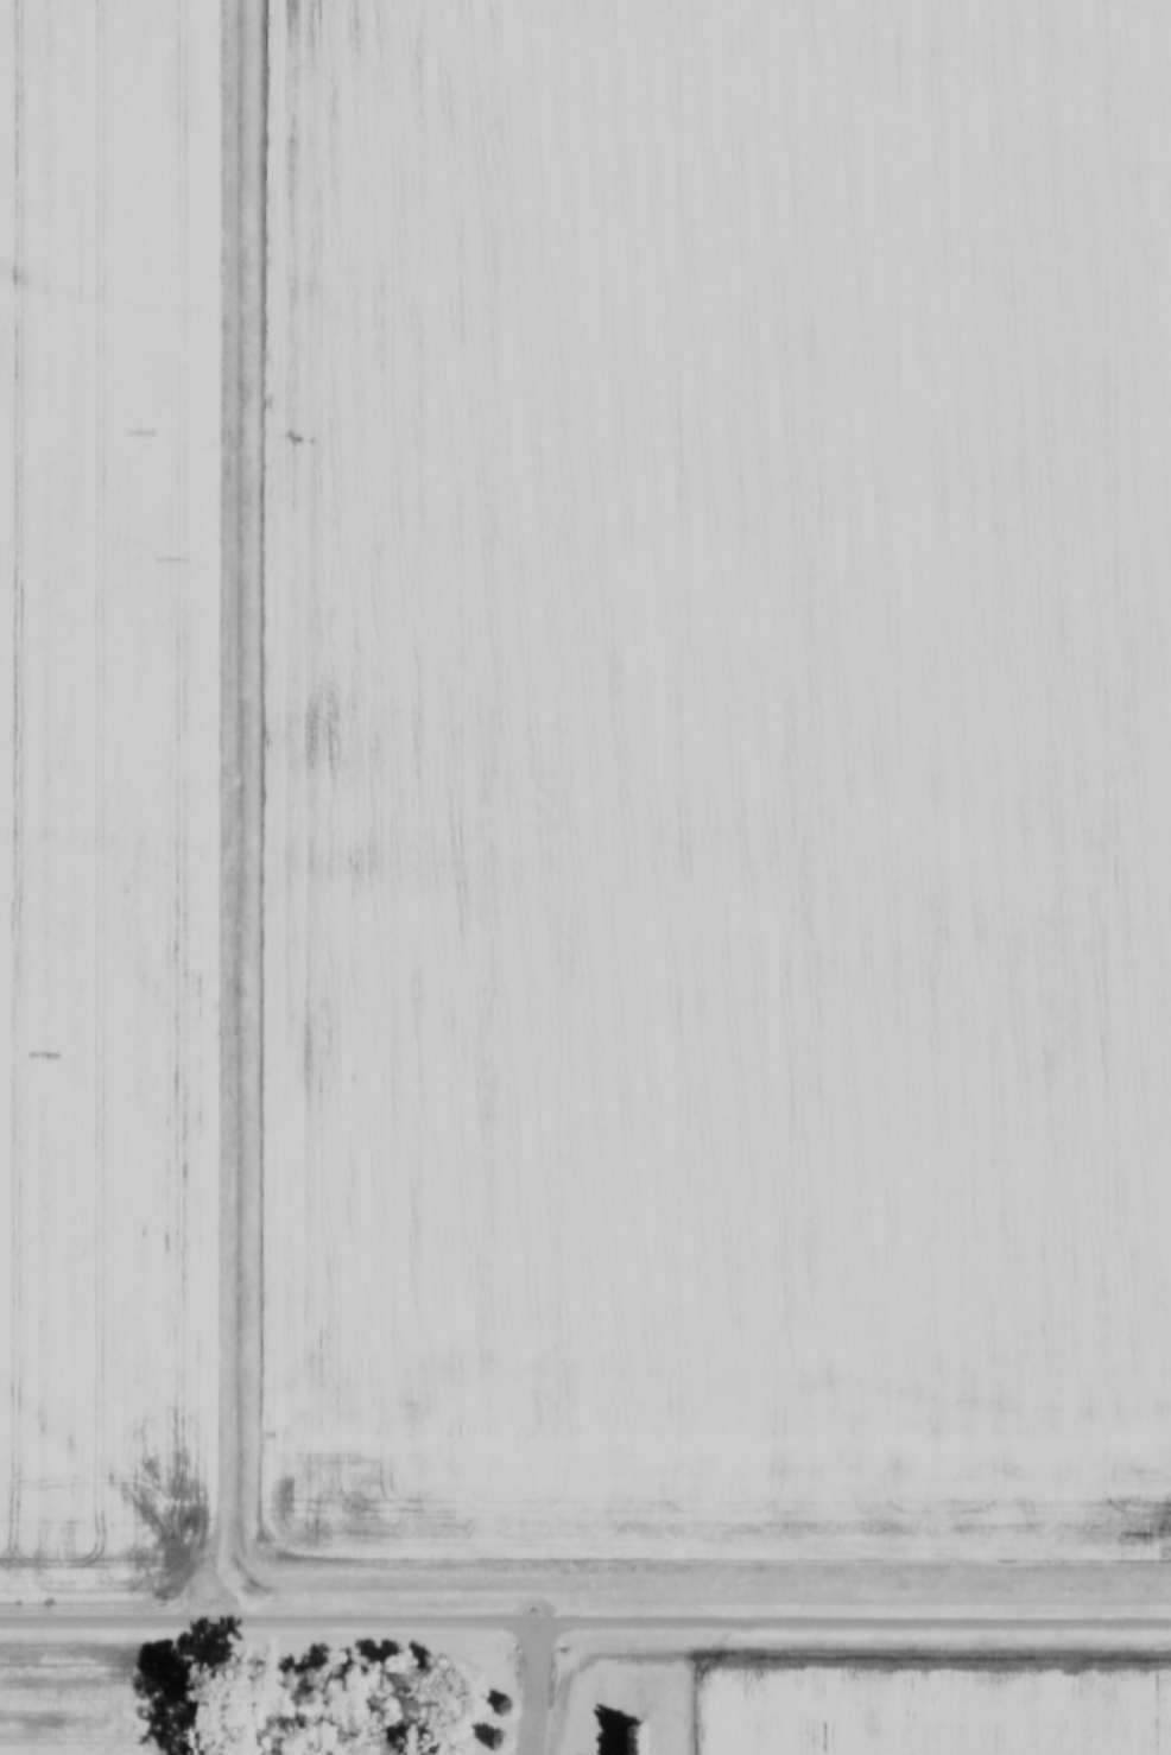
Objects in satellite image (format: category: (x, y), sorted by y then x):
road: (585, 1621)
road: (532, 1689)
airport runway: (659, 1711)

